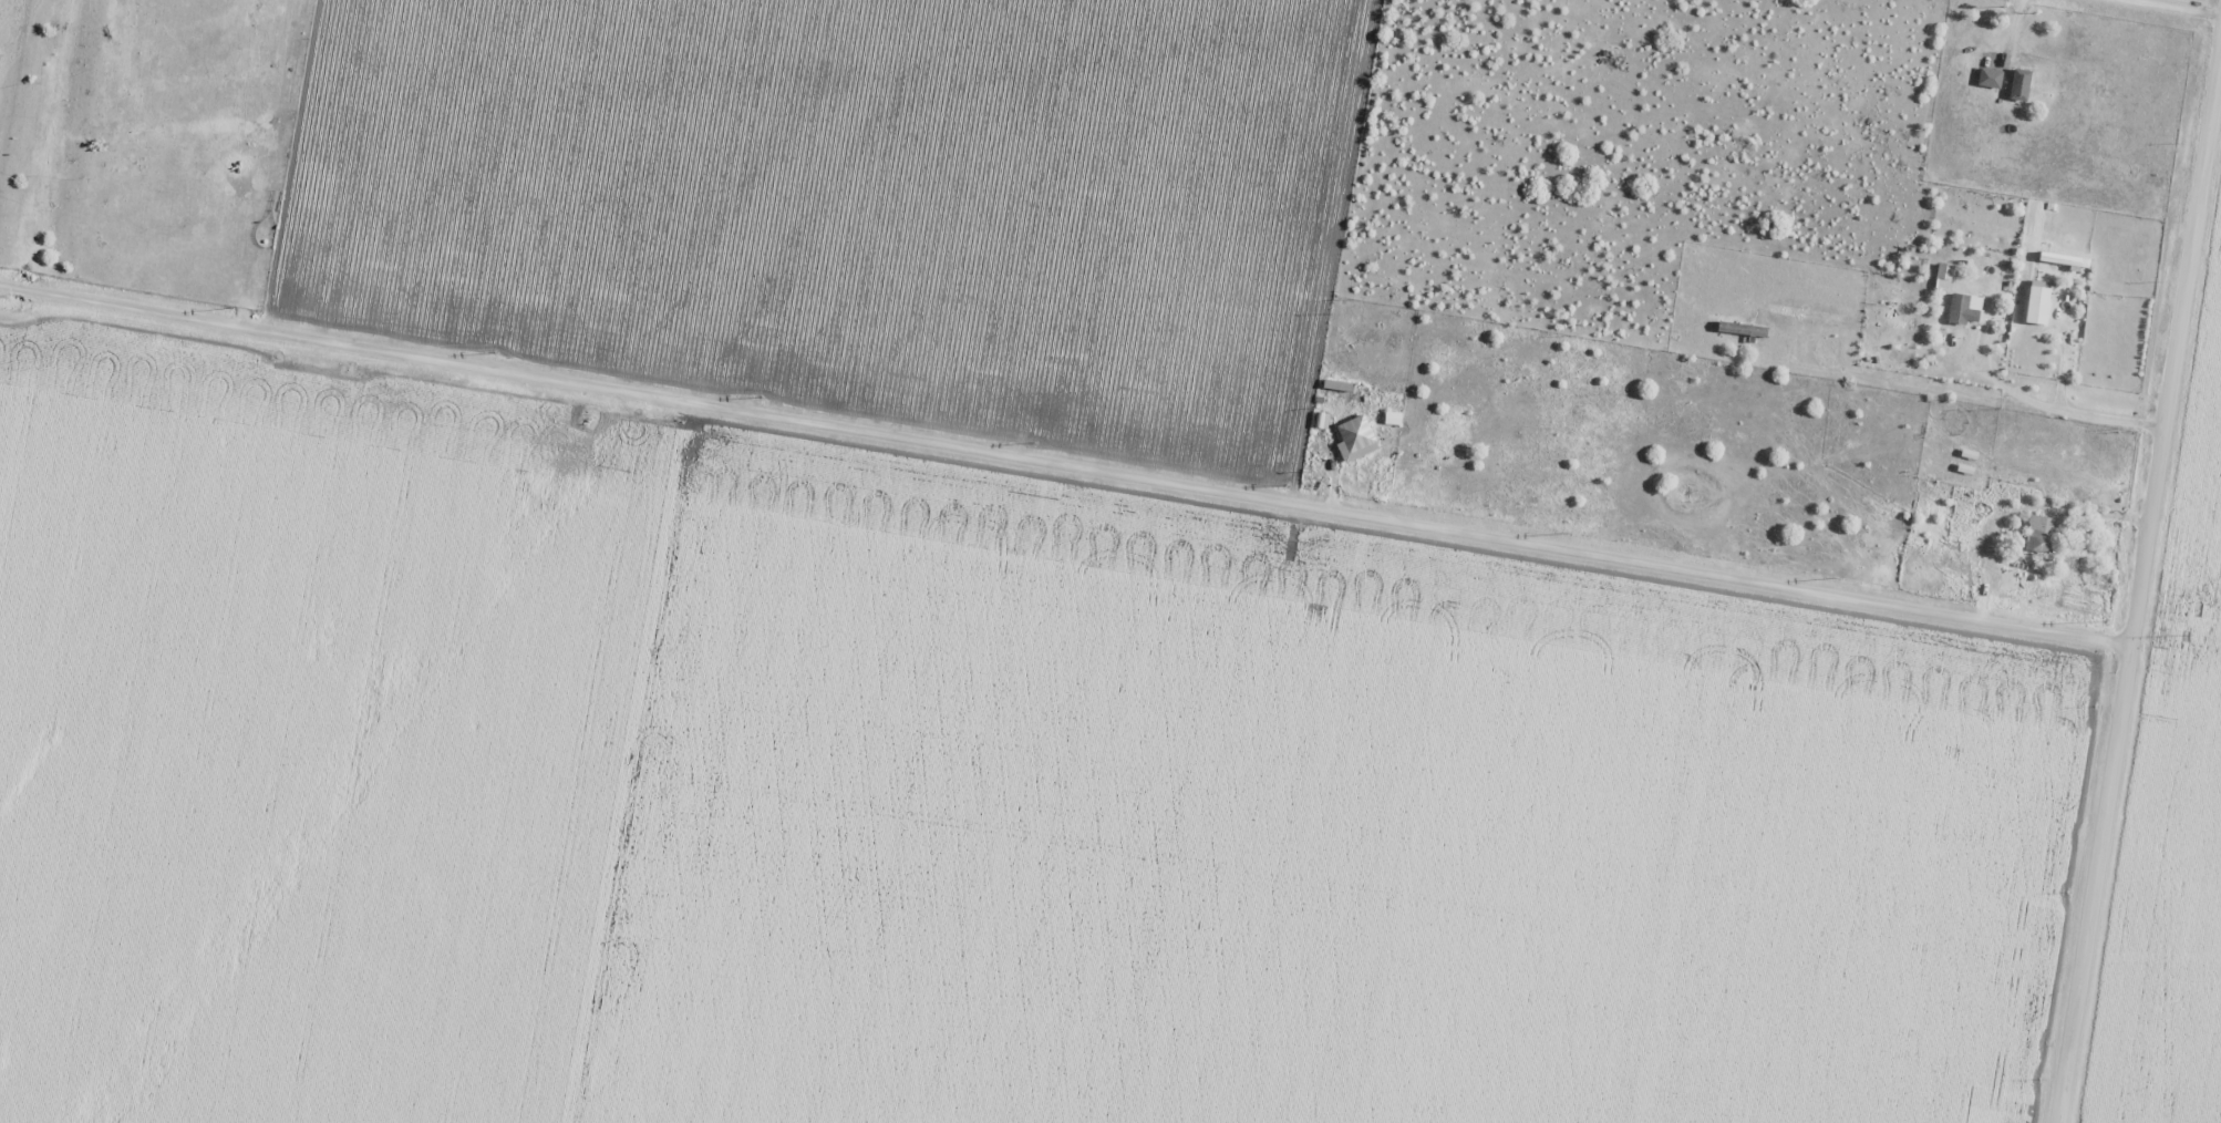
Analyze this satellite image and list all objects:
road: (2174, 7)
building: (1988, 78)
building: (2018, 85)
building: (2063, 259)
building: (1943, 272)
building: (2036, 305)
building: (1964, 308)
building: (1745, 329)
building: (1354, 439)
road: (1063, 478)
building: (2042, 534)
building: (1961, 537)
road: (2136, 576)

